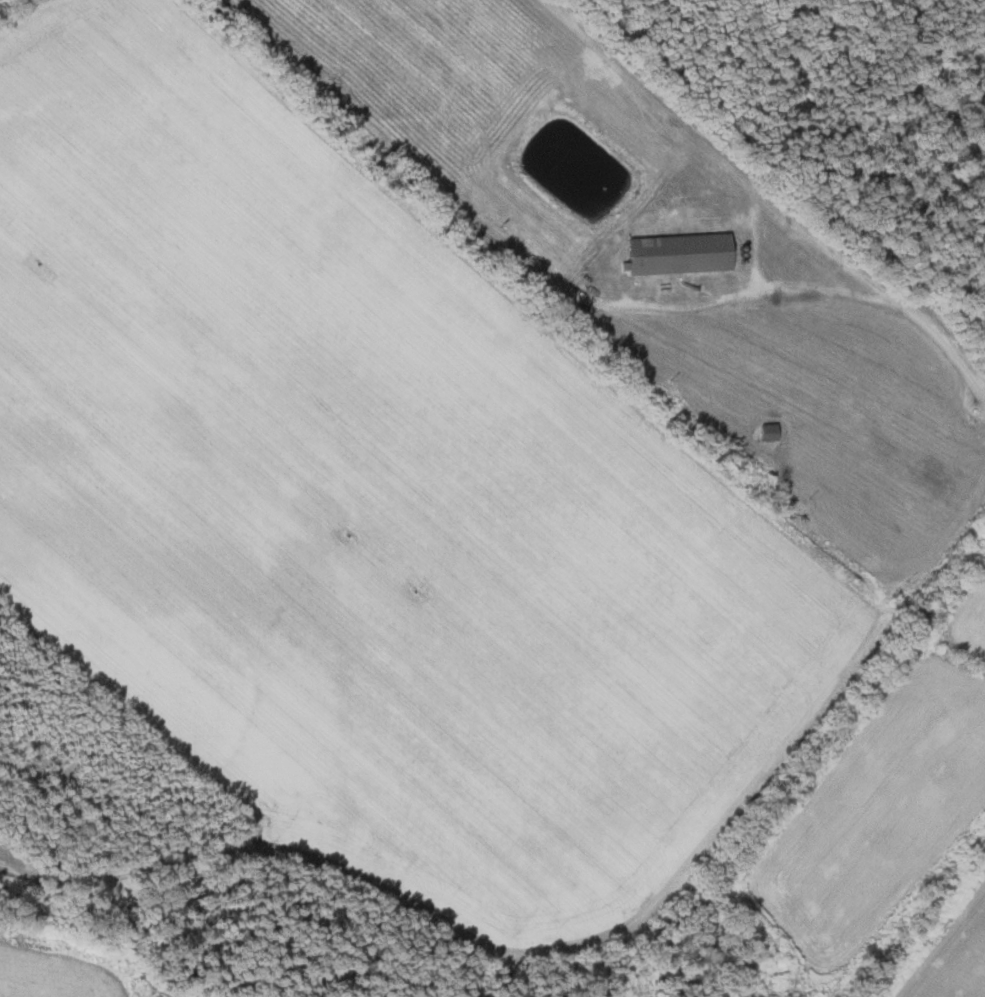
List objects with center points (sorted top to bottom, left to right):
building: (675, 255)
road: (824, 296)
building: (766, 432)

